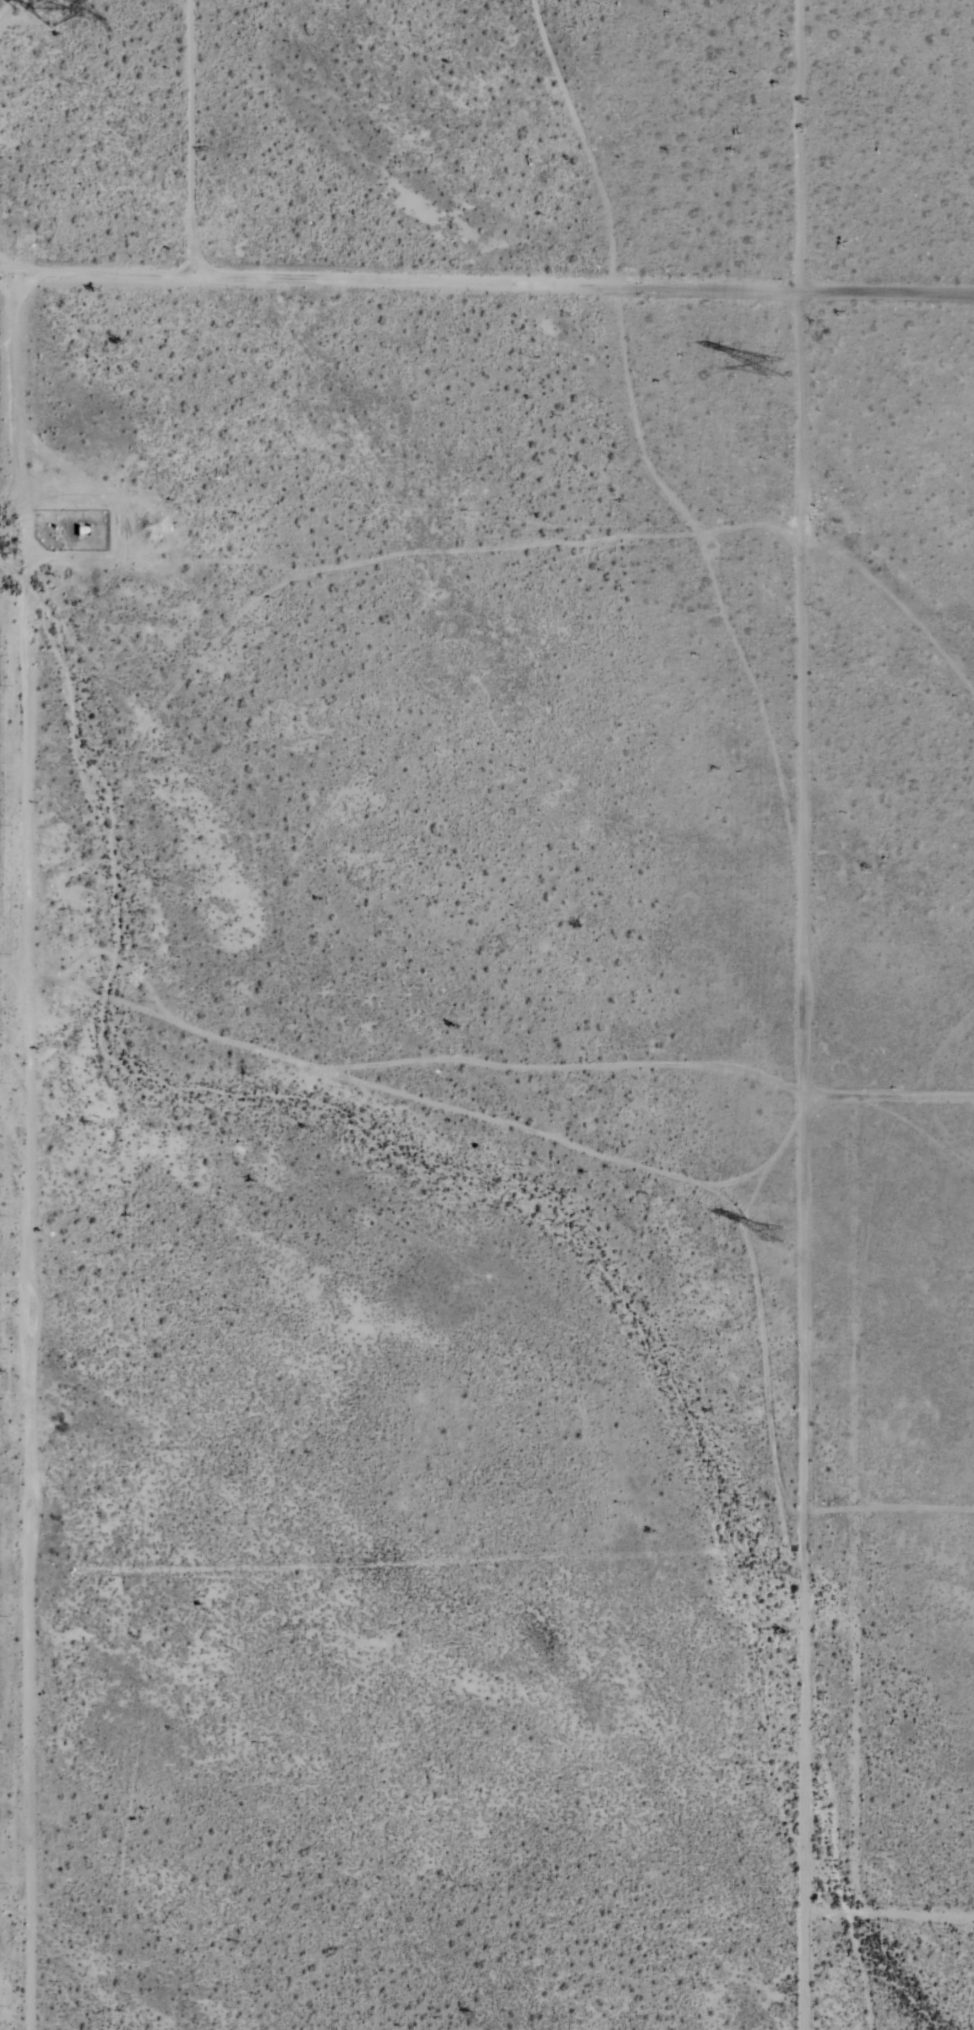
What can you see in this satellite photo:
power tower: (51, 9)
road: (194, 140)
road: (487, 283)
power tower: (778, 365)
road: (22, 669)
road: (6, 1055)
road: (891, 1094)
road: (811, 1159)
power tower: (780, 1231)
road: (884, 1537)
road: (880, 1909)

